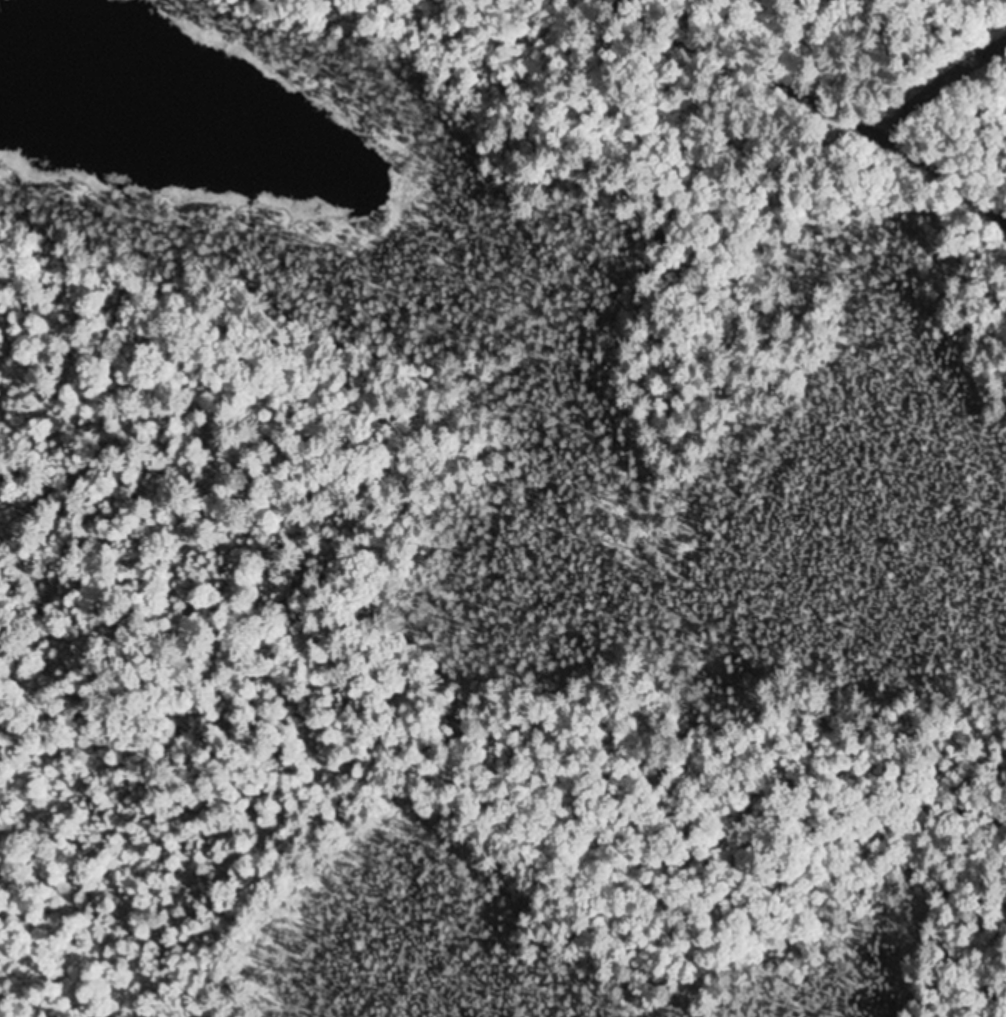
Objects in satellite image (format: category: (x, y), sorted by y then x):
road: (938, 85)
road: (809, 102)
road: (995, 976)

